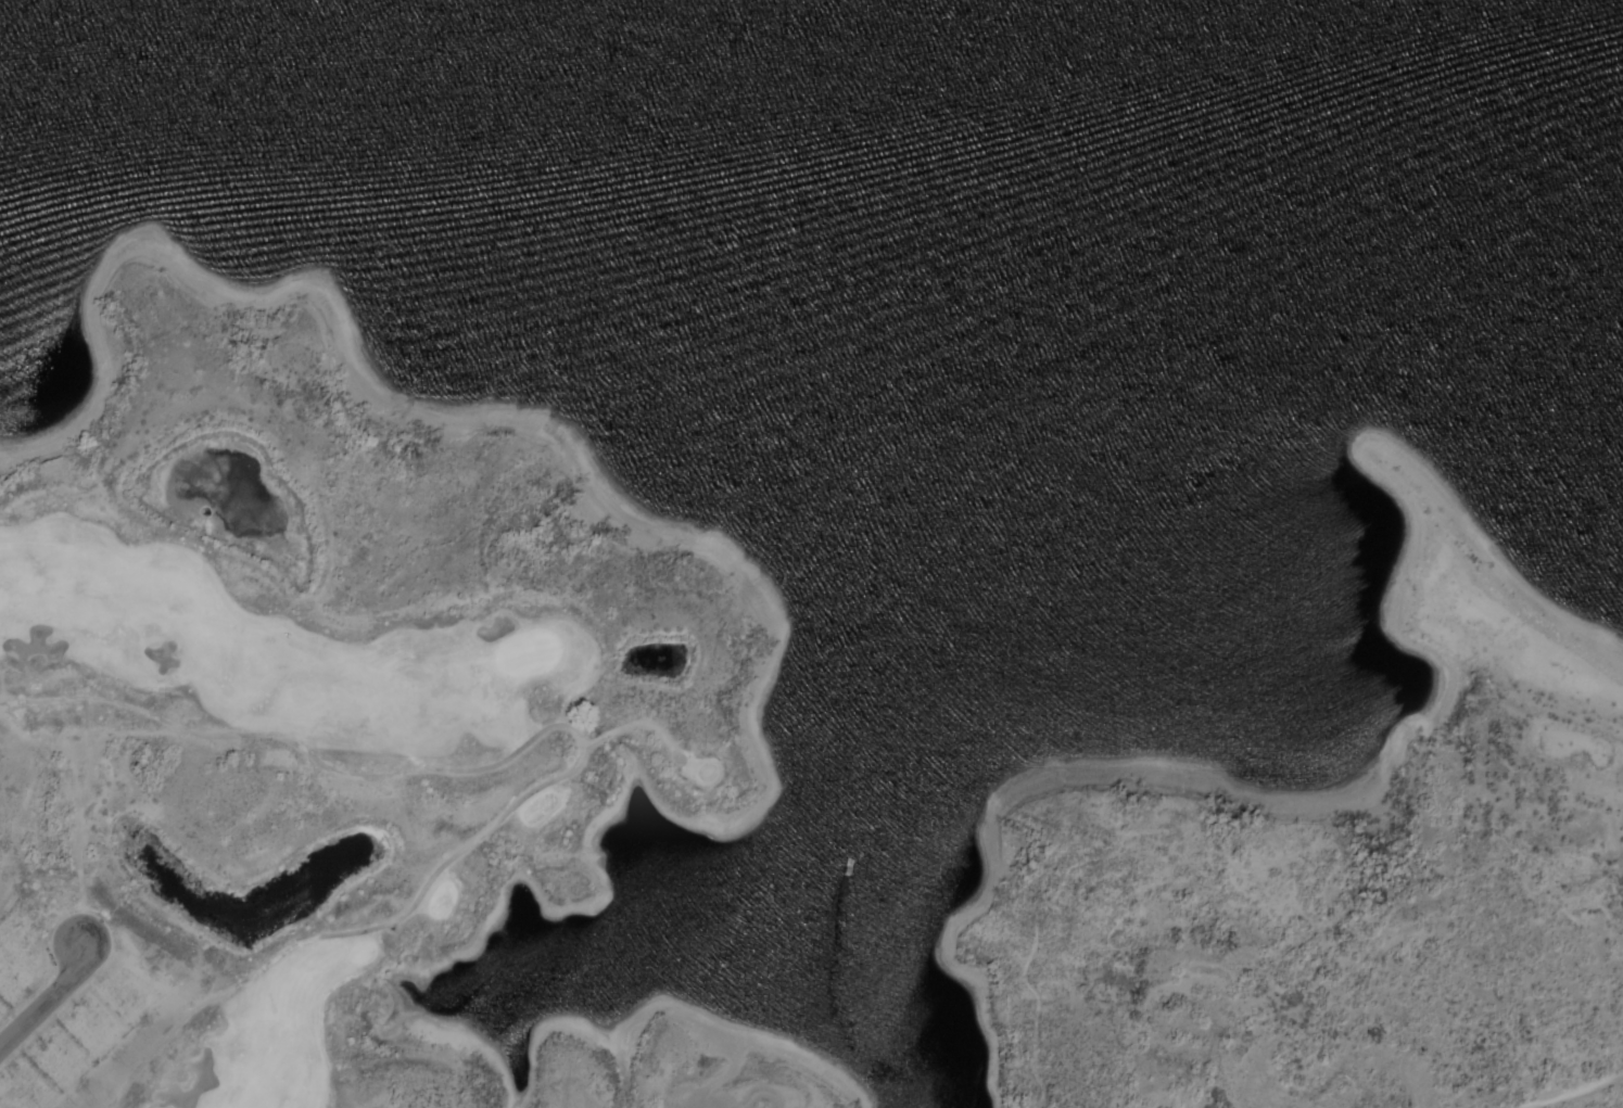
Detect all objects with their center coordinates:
road: (633, 724)
road: (578, 742)
park: (267, 785)
road: (43, 1002)

